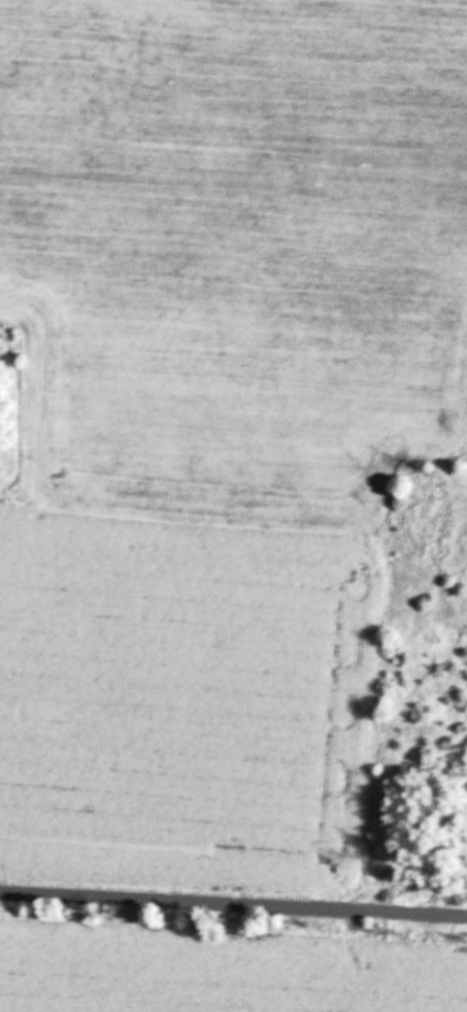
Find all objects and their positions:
quarry: (428, 698)
road: (233, 905)

